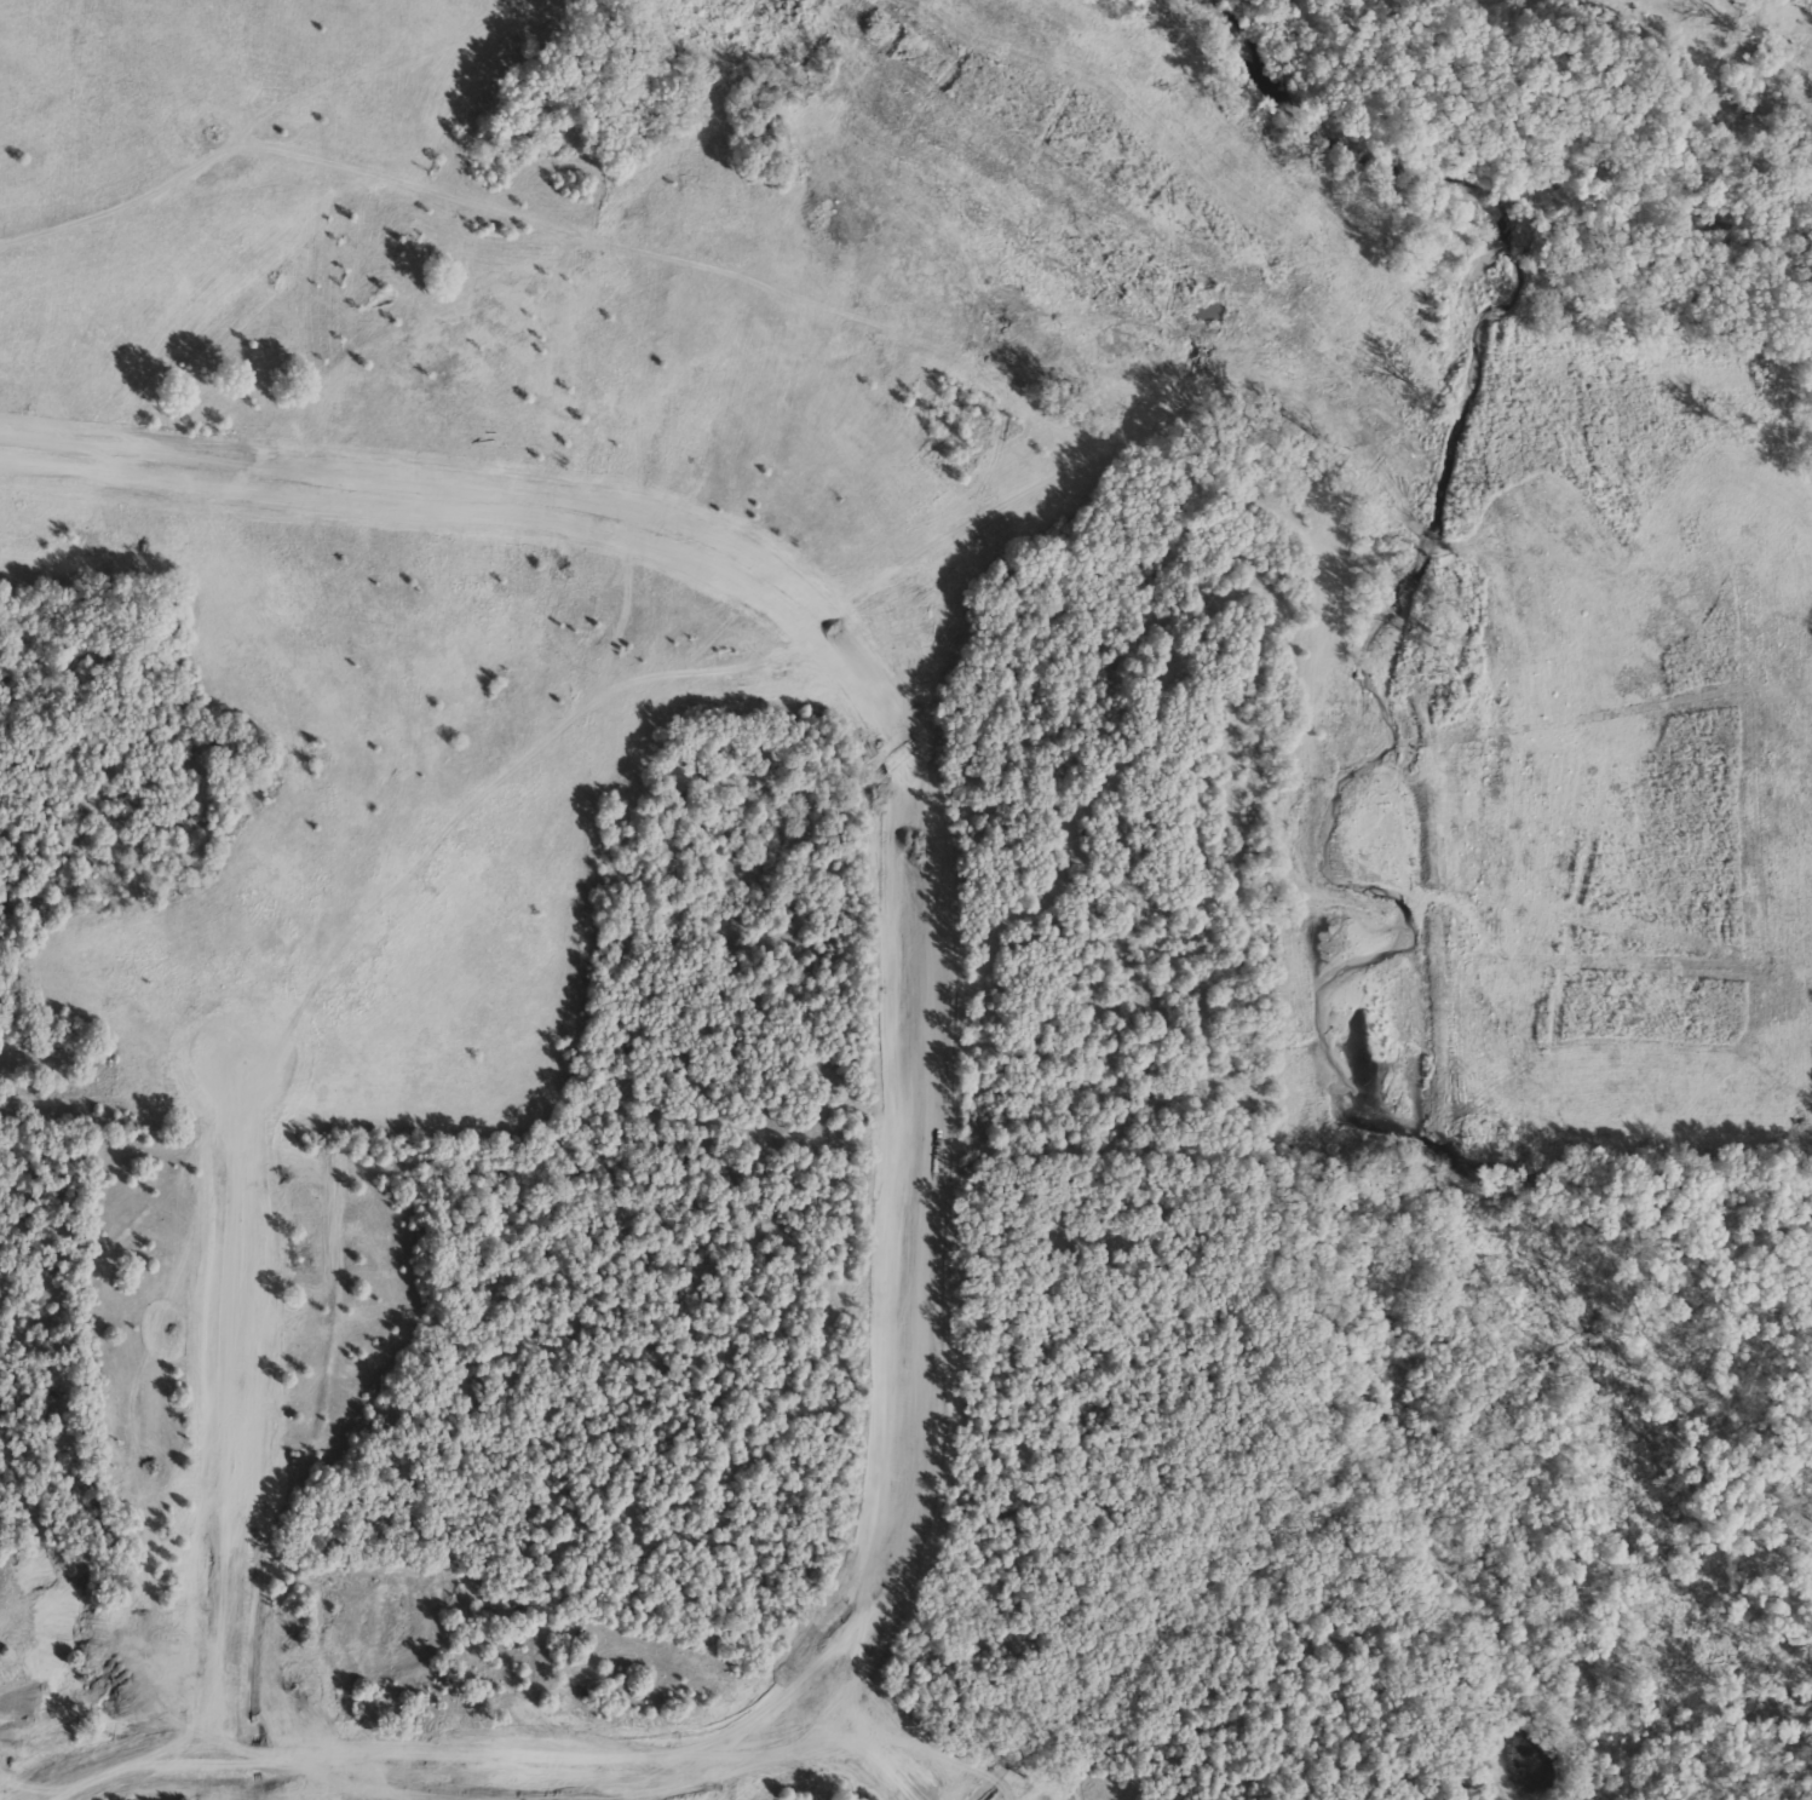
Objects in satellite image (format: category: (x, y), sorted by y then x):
road: (68, 1778)

